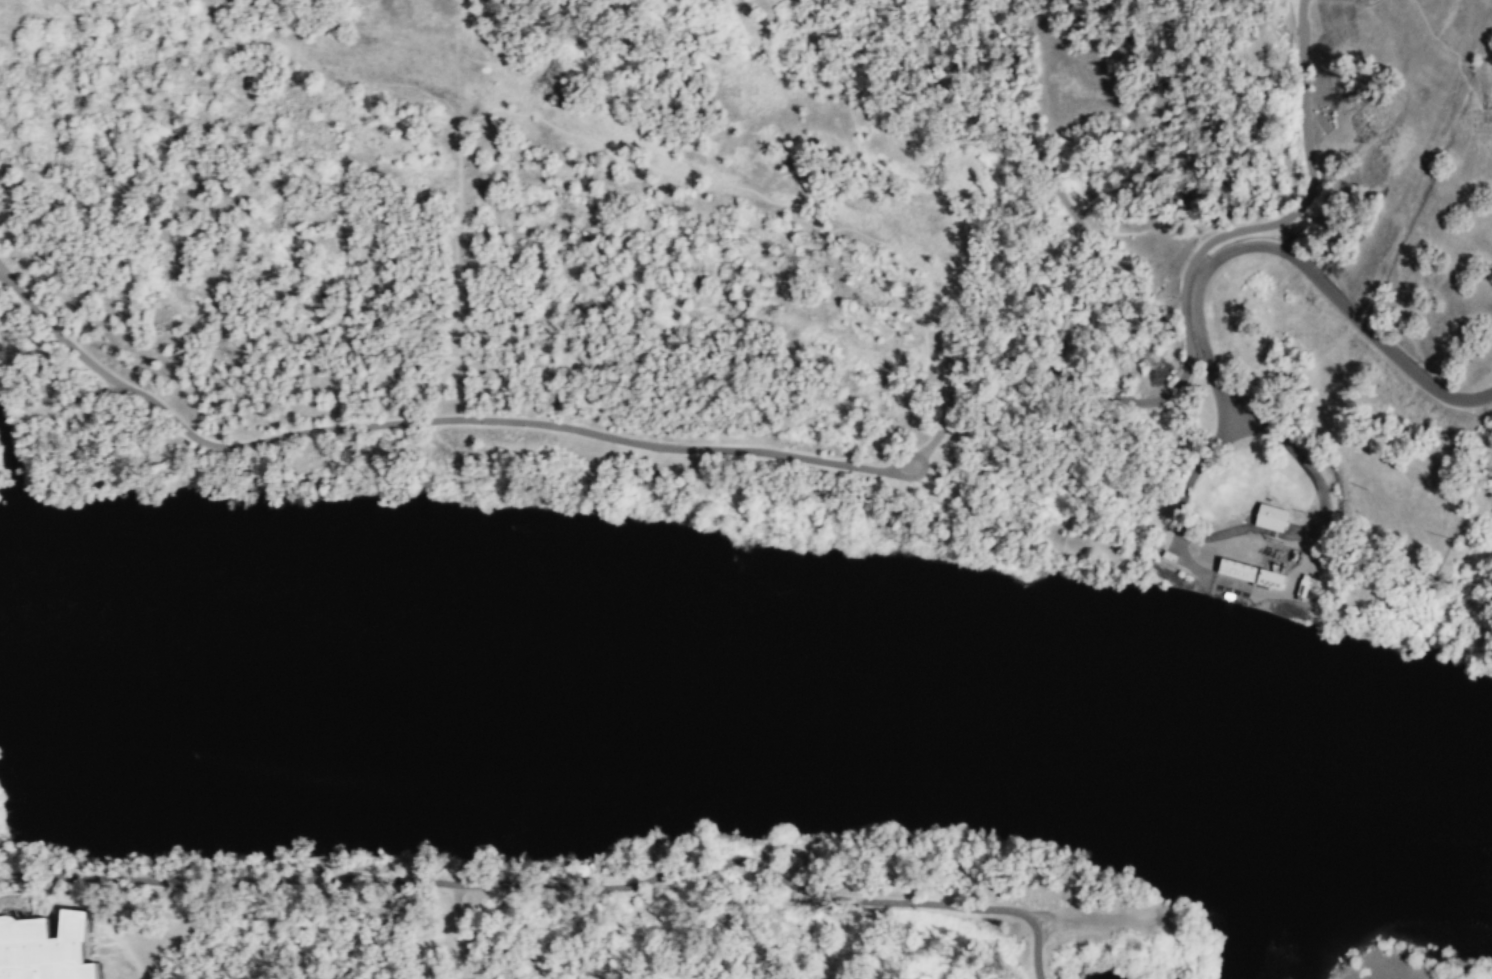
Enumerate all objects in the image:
road: (816, 55)
road: (1043, 163)
road: (1218, 237)
park: (704, 247)
road: (1289, 255)
road: (54, 332)
road: (547, 424)
road: (1056, 479)
power substation: (1238, 504)
building: (1271, 517)
road: (969, 520)
road: (1062, 559)
building: (1239, 568)
building: (1273, 577)
river: (753, 677)
road: (552, 884)
road: (95, 907)
park: (594, 913)
road: (1101, 918)
road: (455, 931)
building: (43, 948)

